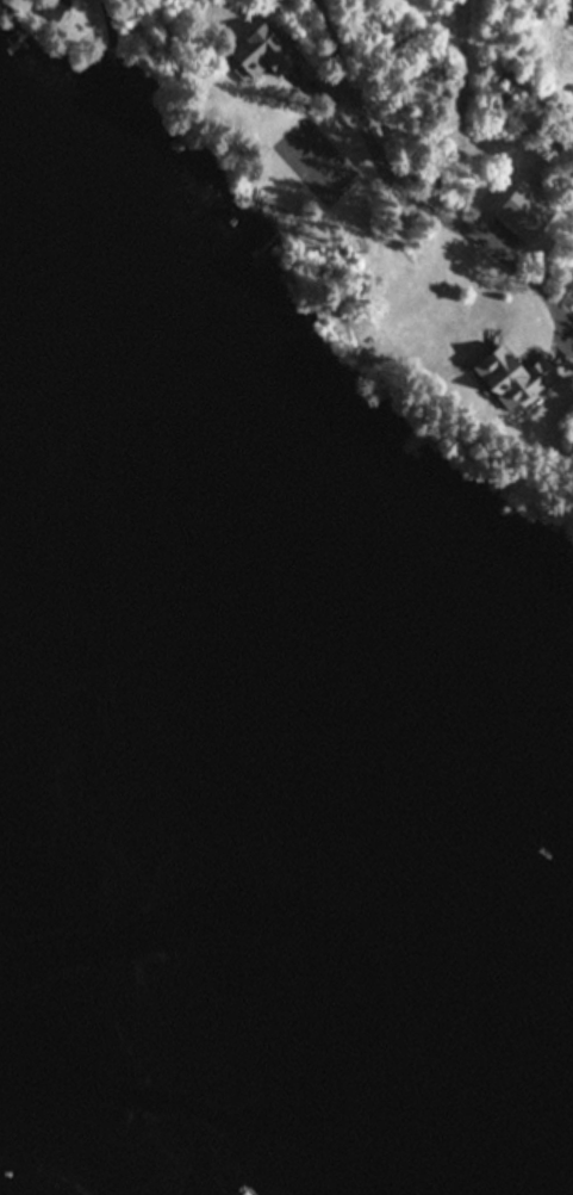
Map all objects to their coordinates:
building: (267, 54)
road: (421, 196)
building: (511, 370)
river: (300, 909)

